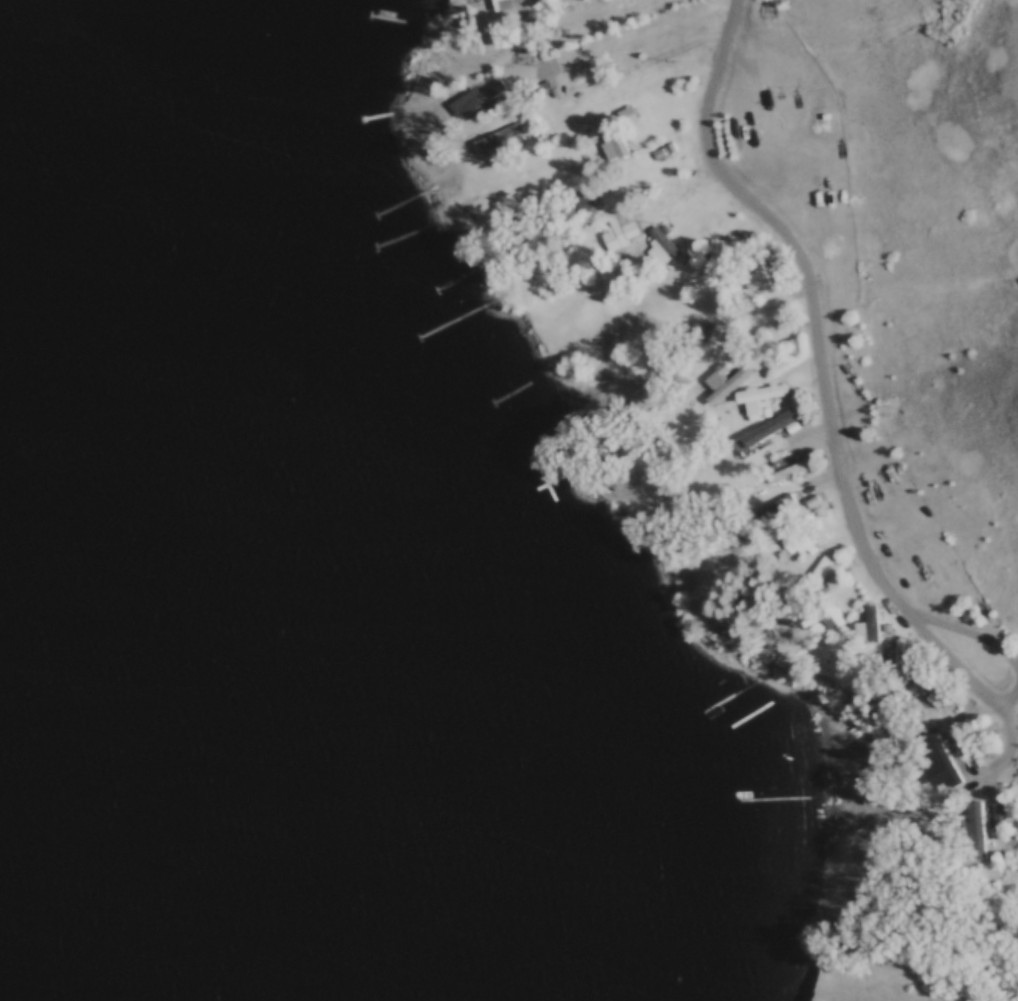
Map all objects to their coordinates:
building: (517, 3)
building: (478, 98)
building: (613, 137)
building: (503, 139)
building: (620, 229)
building: (660, 245)
building: (723, 250)
road: (809, 292)
building: (709, 341)
building: (729, 384)
building: (758, 399)
building: (799, 465)
building: (786, 549)
building: (815, 575)
building: (829, 614)
building: (869, 626)
building: (933, 683)
road: (1005, 686)
road: (1010, 742)
building: (975, 829)

